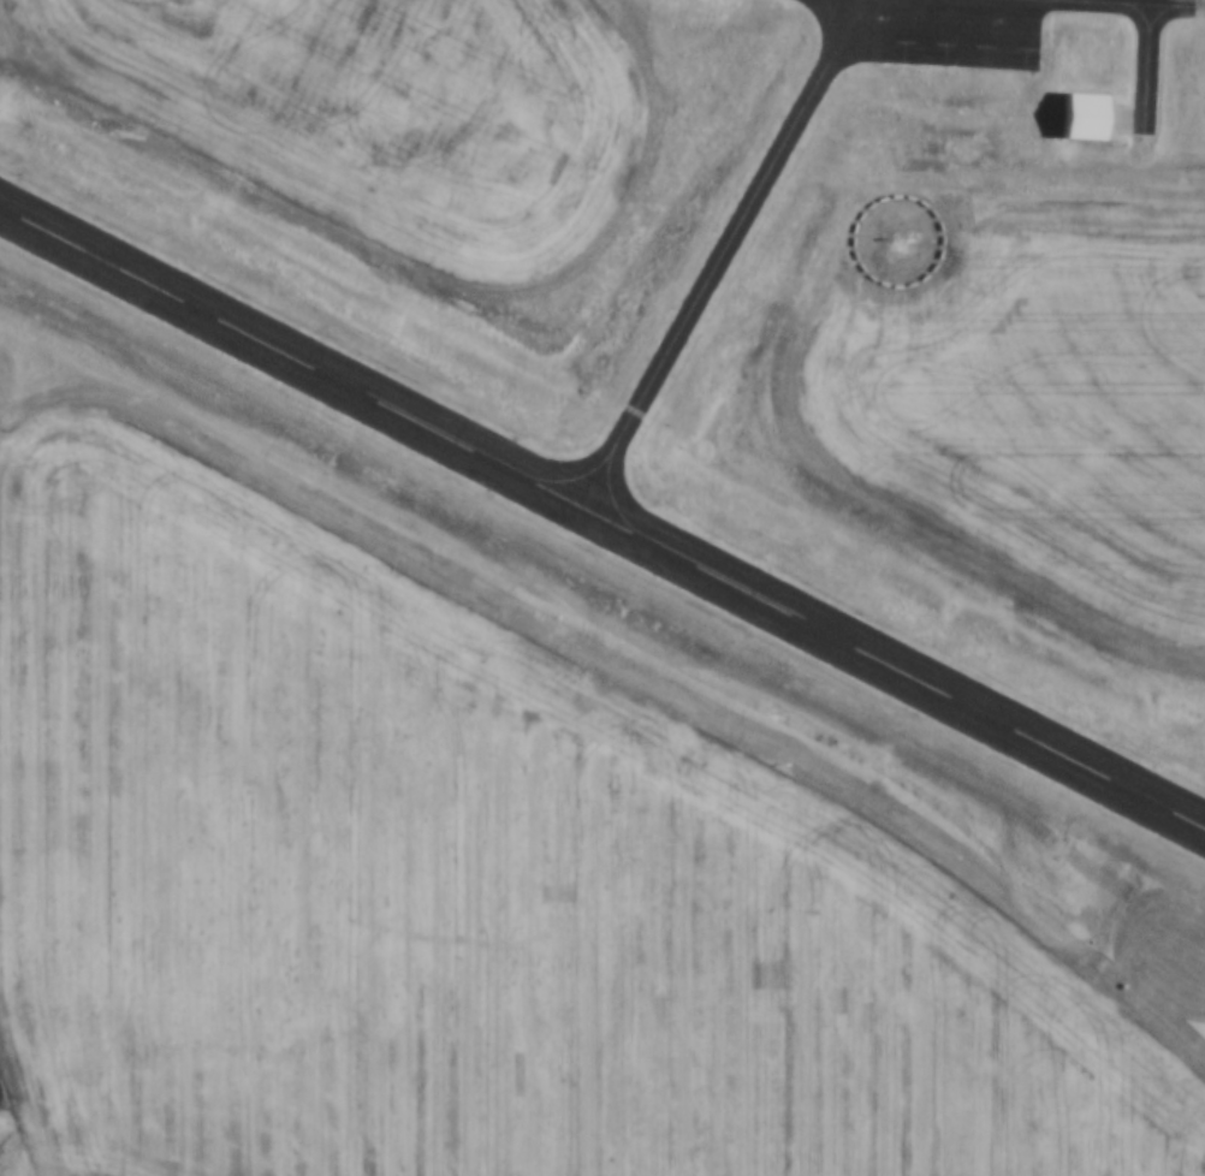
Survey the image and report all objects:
airport taxiway: (1019, 0)
airport apron: (931, 35)
crop: (380, 108)
building: (1074, 113)
airport taxiway: (717, 262)
crop: (1029, 391)
airport taxiway: (576, 475)
airport runway: (601, 518)

